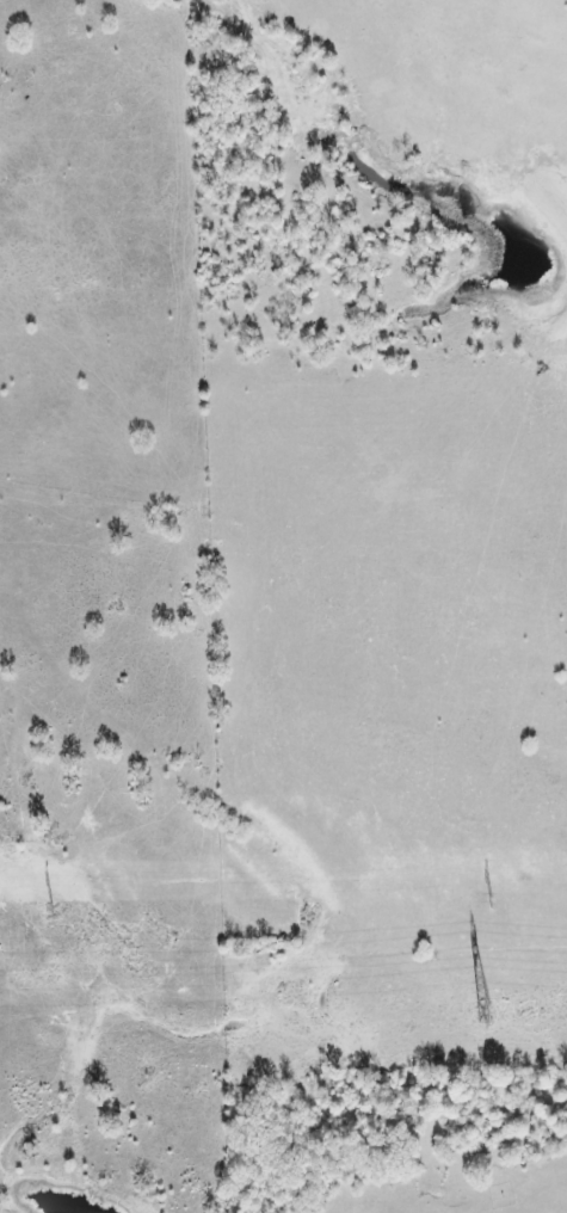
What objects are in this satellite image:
power tower: (495, 905)
power tower: (56, 912)
power tower: (485, 1011)

